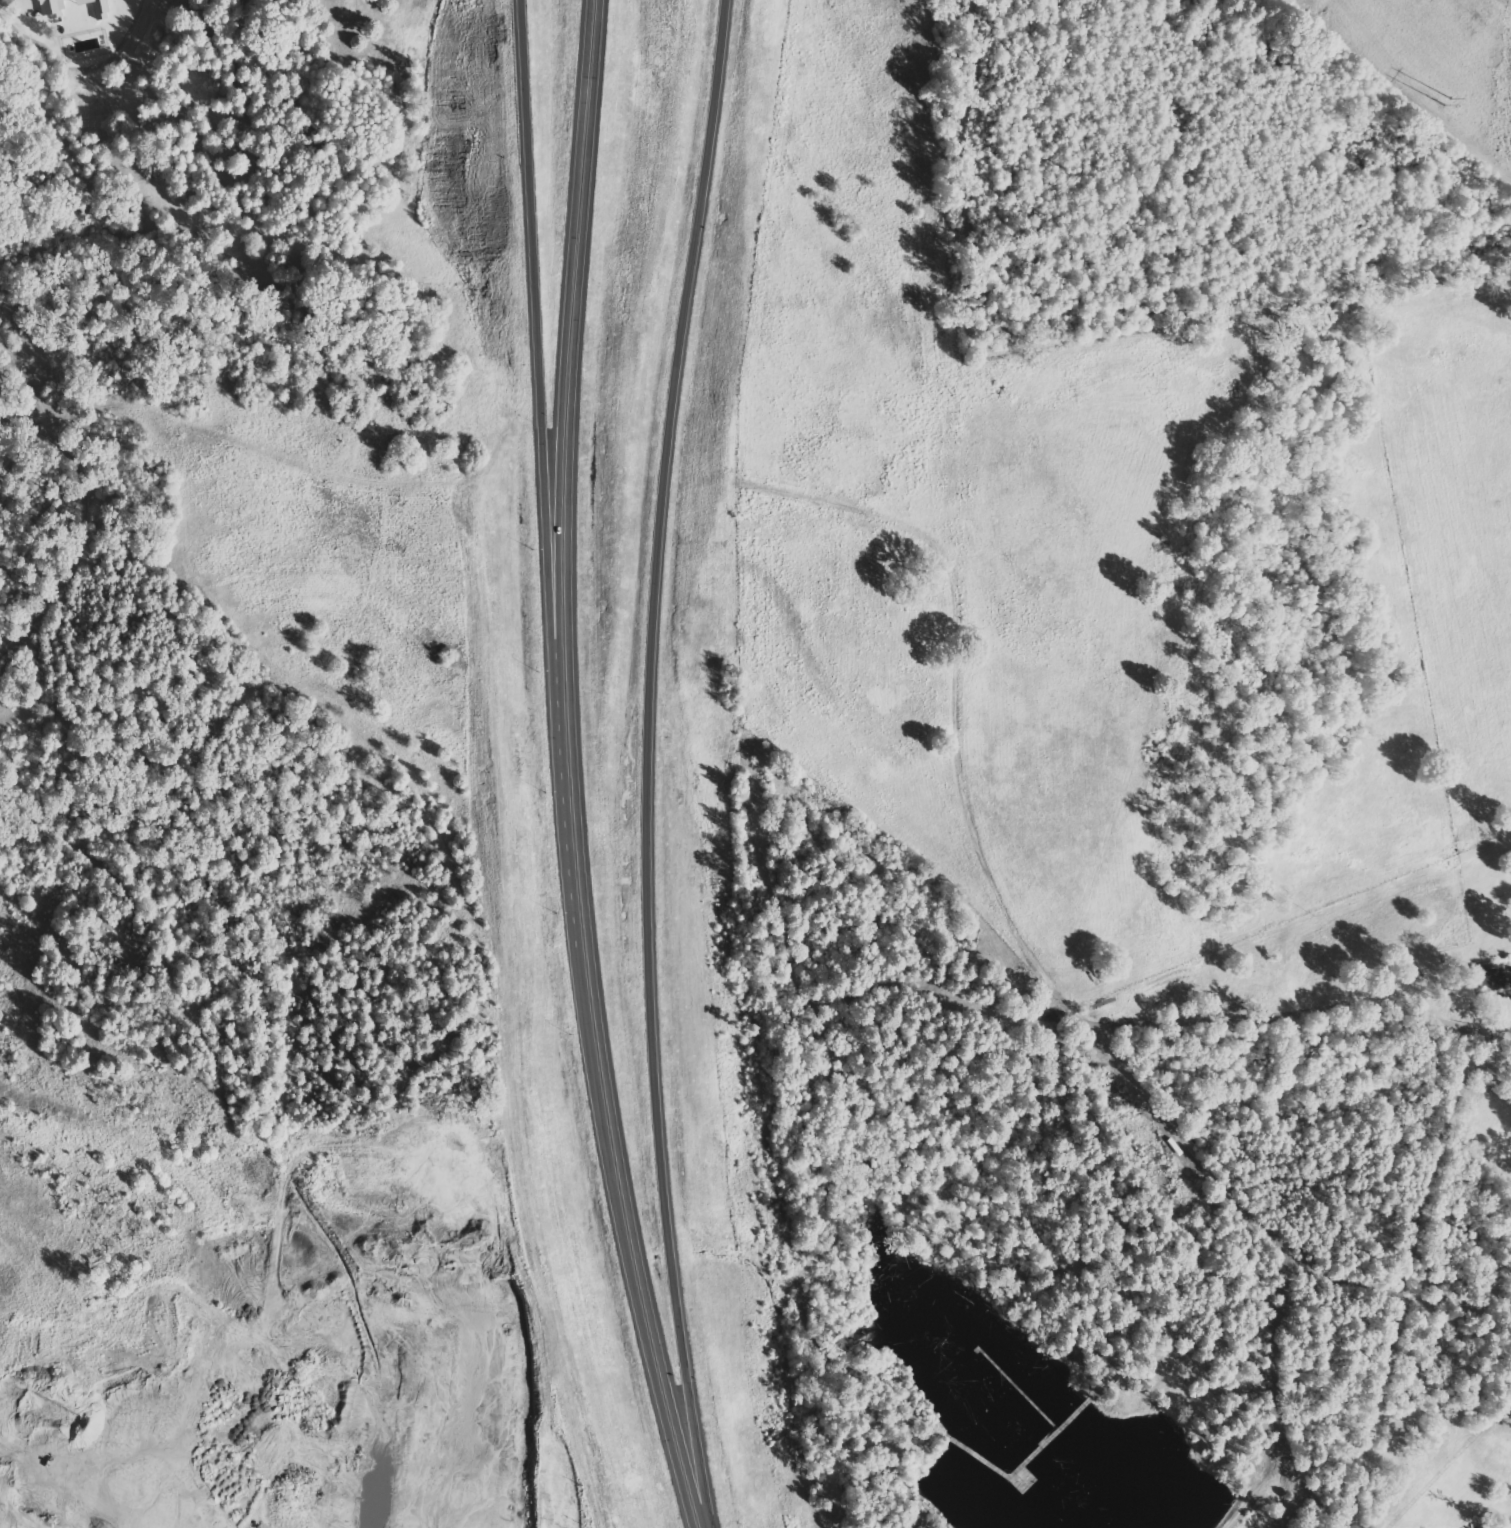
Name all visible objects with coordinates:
road: (563, 451)
road: (540, 452)
road: (646, 763)
building: (1489, 978)
road: (621, 1218)

